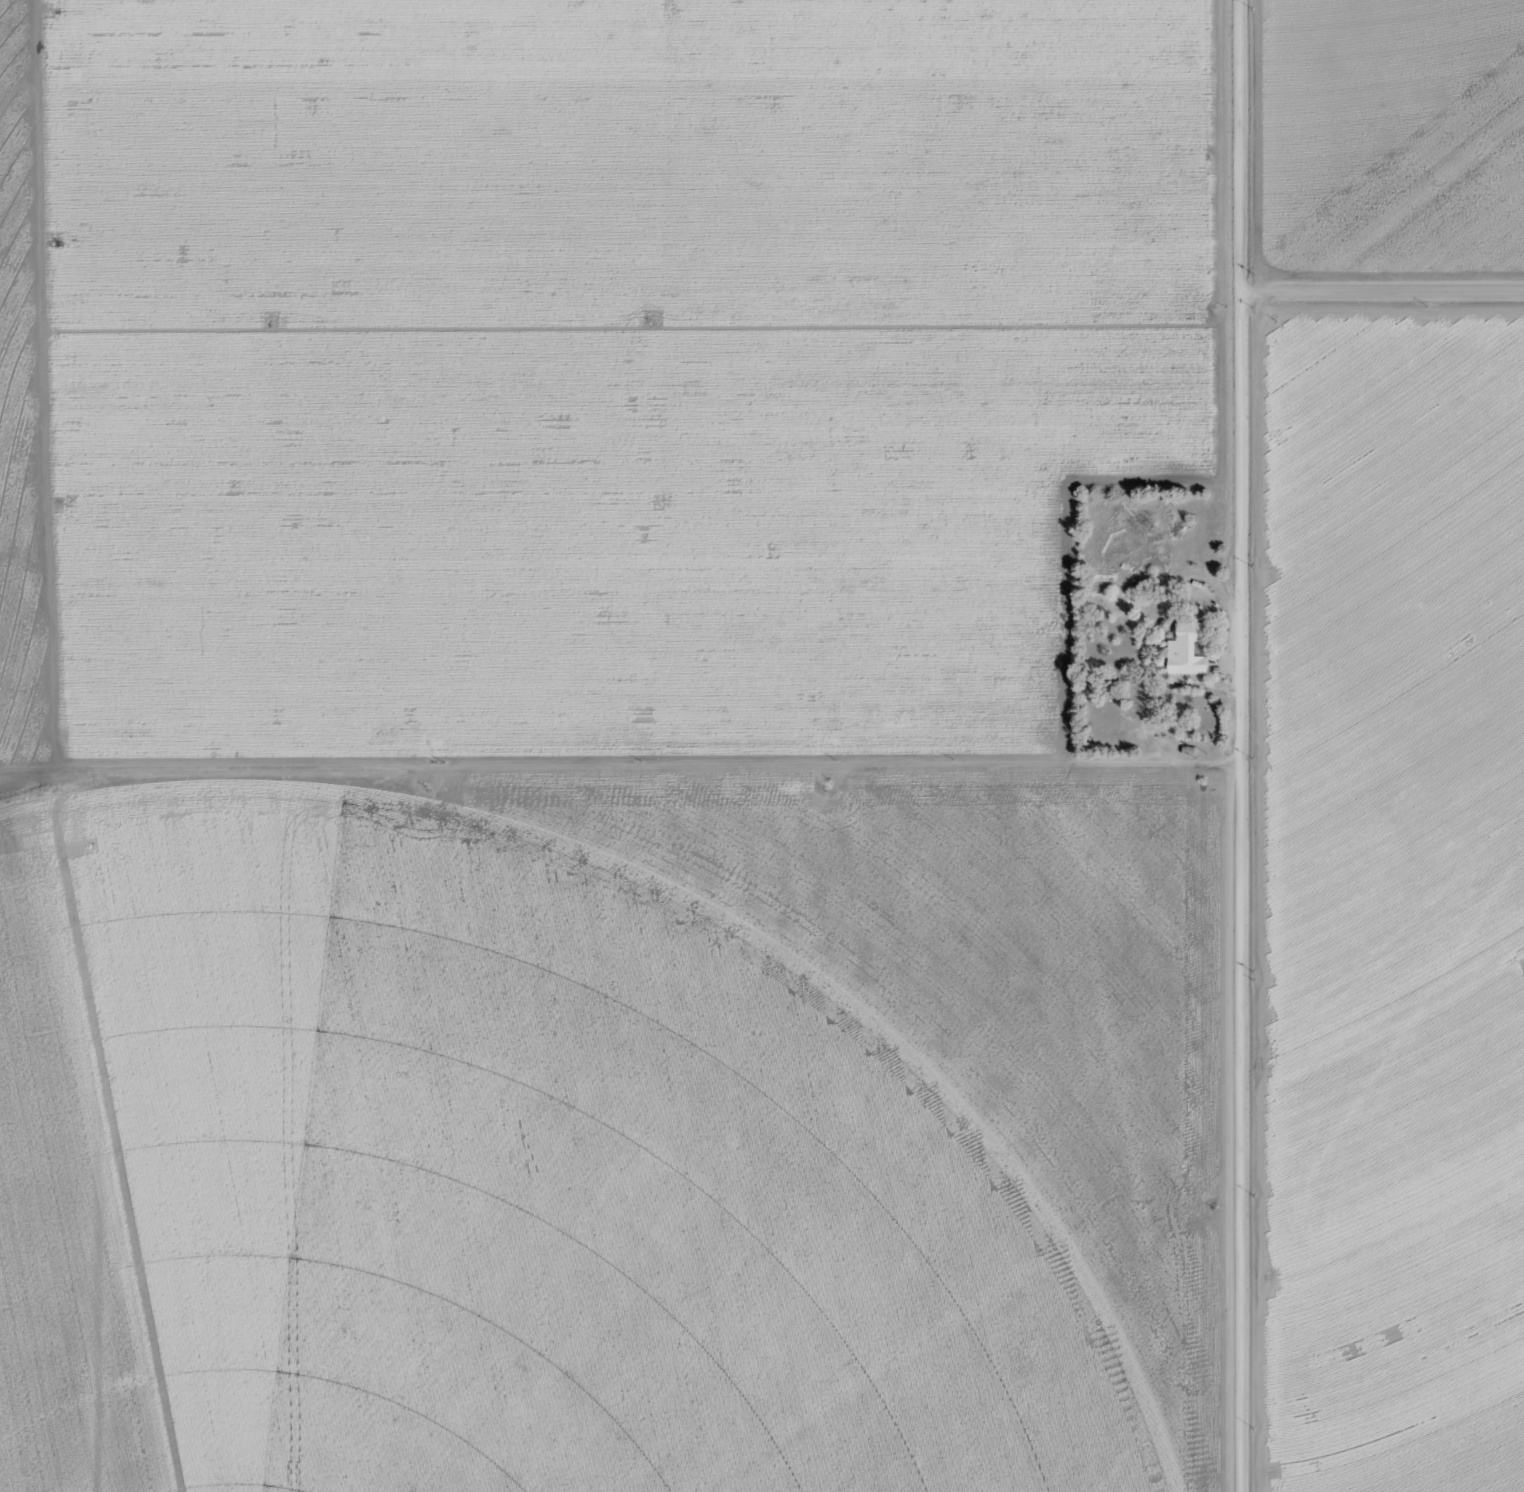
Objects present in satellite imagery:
road: (1379, 295)
building: (1184, 650)
road: (1236, 746)

